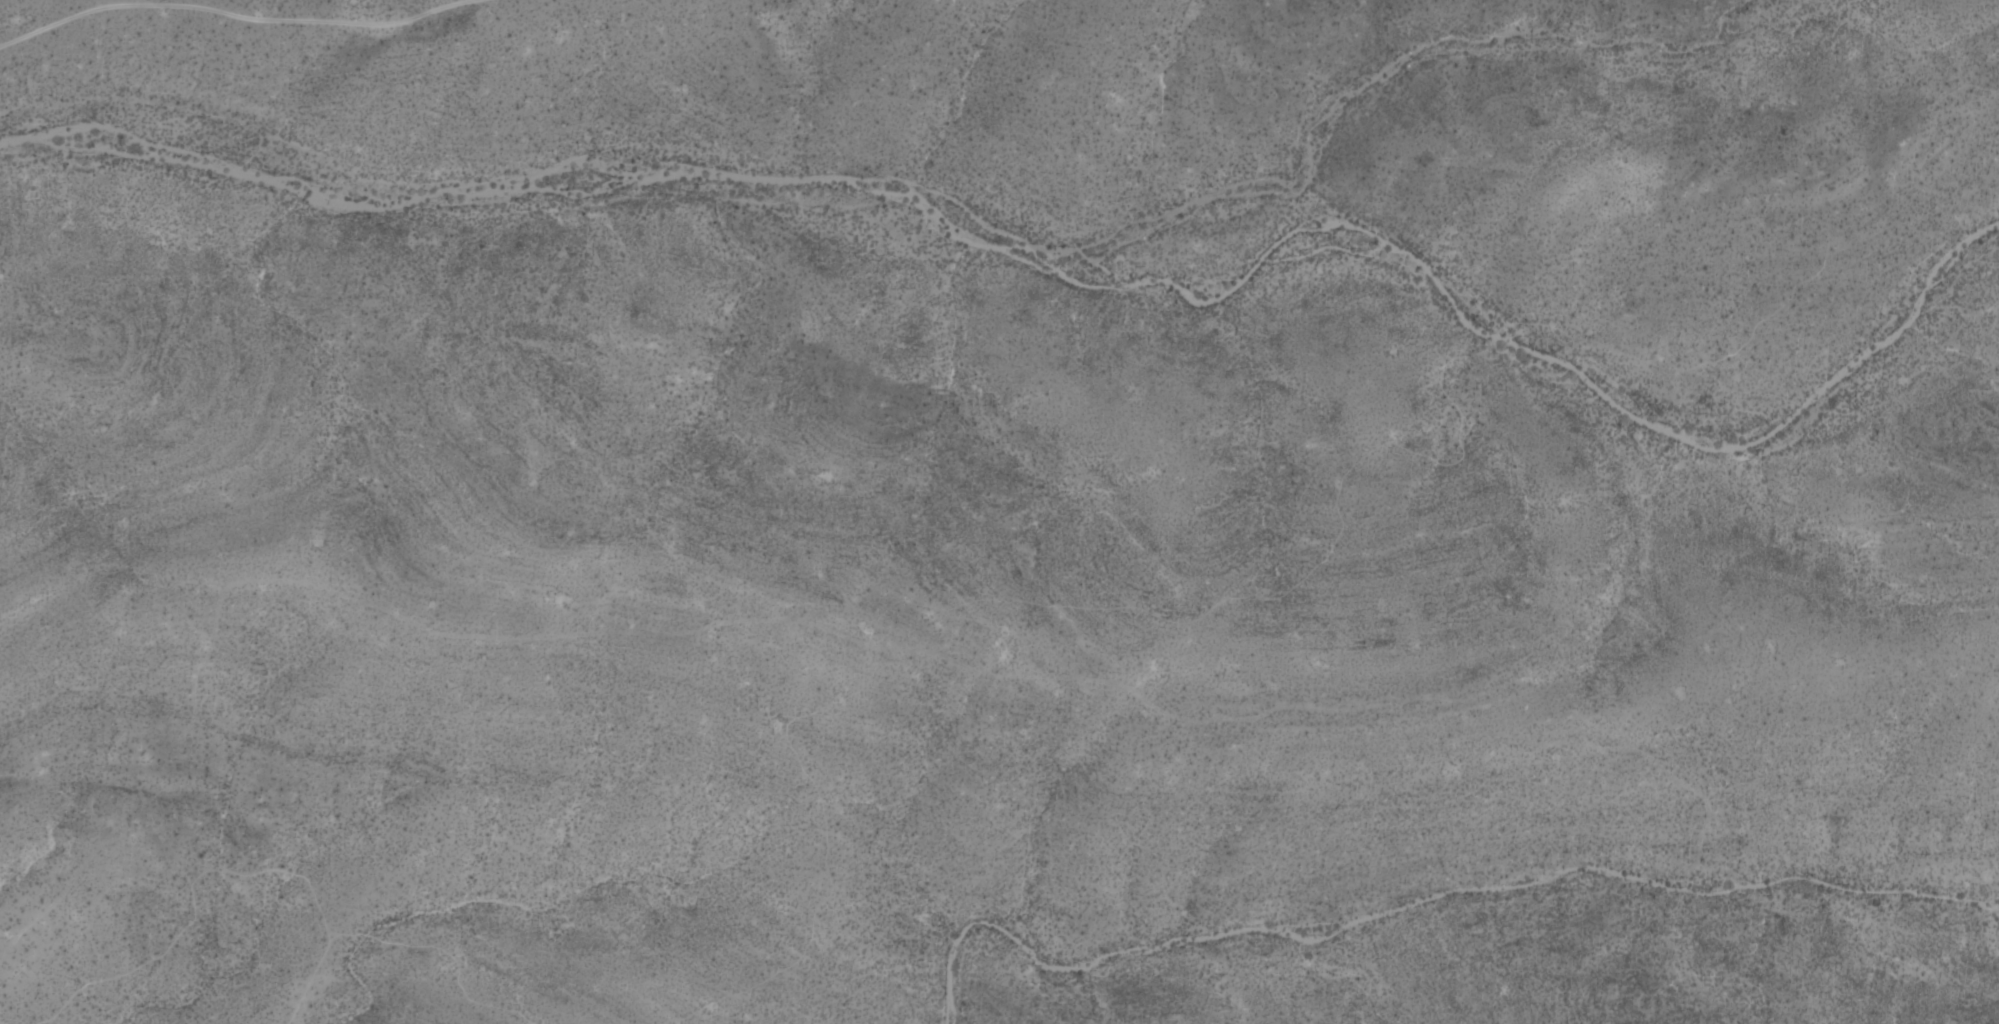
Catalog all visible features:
road: (228, 879)

